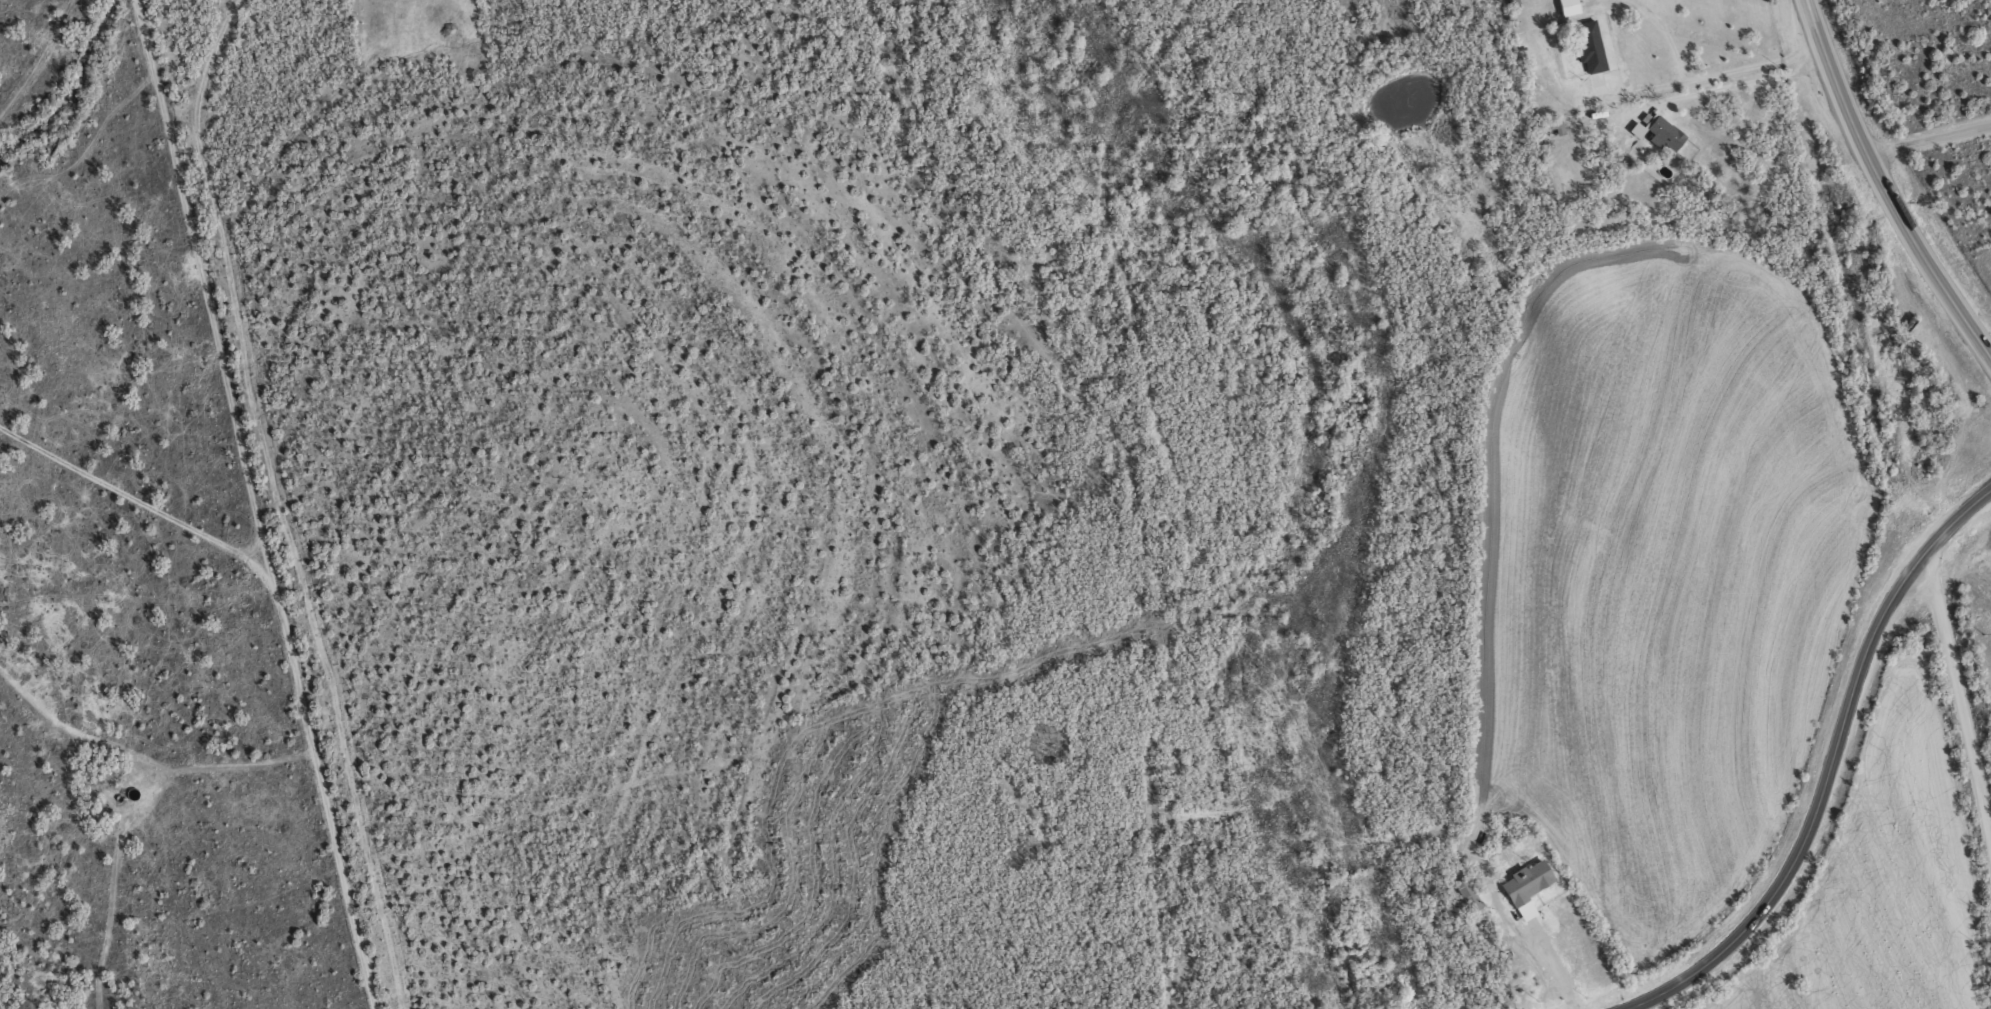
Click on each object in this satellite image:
building: (1569, 7)
building: (1591, 47)
building: (1637, 129)
building: (1666, 134)
road: (1928, 140)
road: (1884, 187)
road: (1957, 690)
road: (1828, 766)
building: (1528, 886)
building: (1468, 894)

